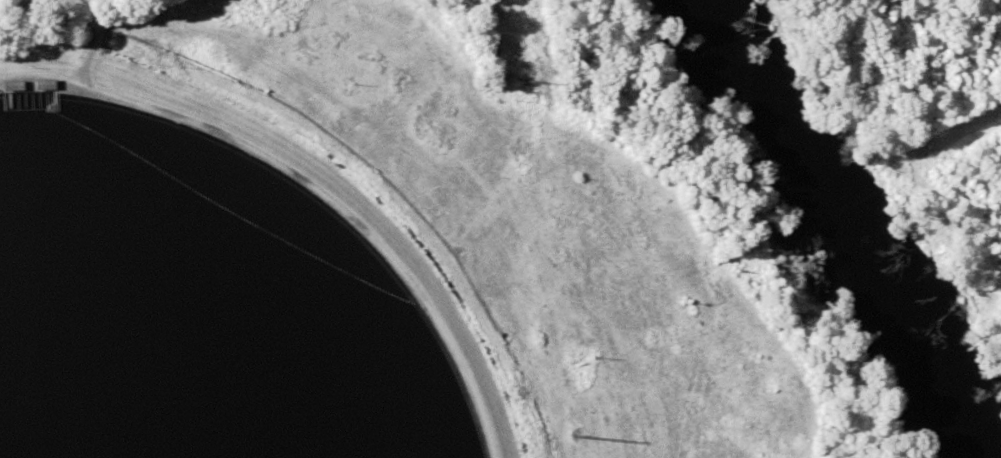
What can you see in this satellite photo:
road: (312, 183)
river: (835, 229)

